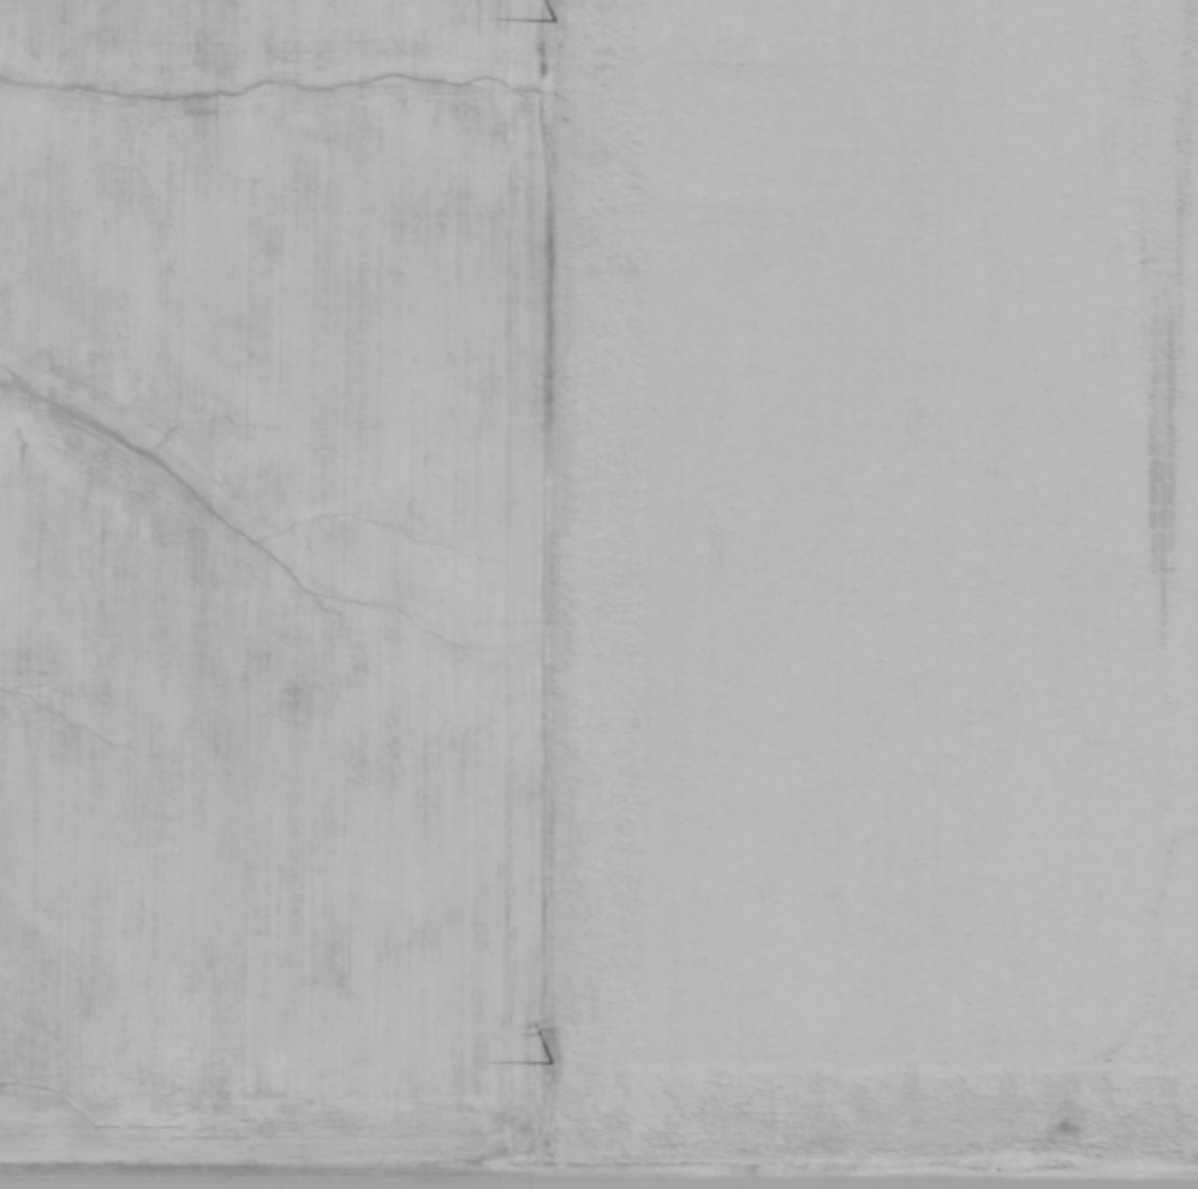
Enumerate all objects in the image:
power tower: (549, 17)
power tower: (554, 1062)
road: (598, 1184)

